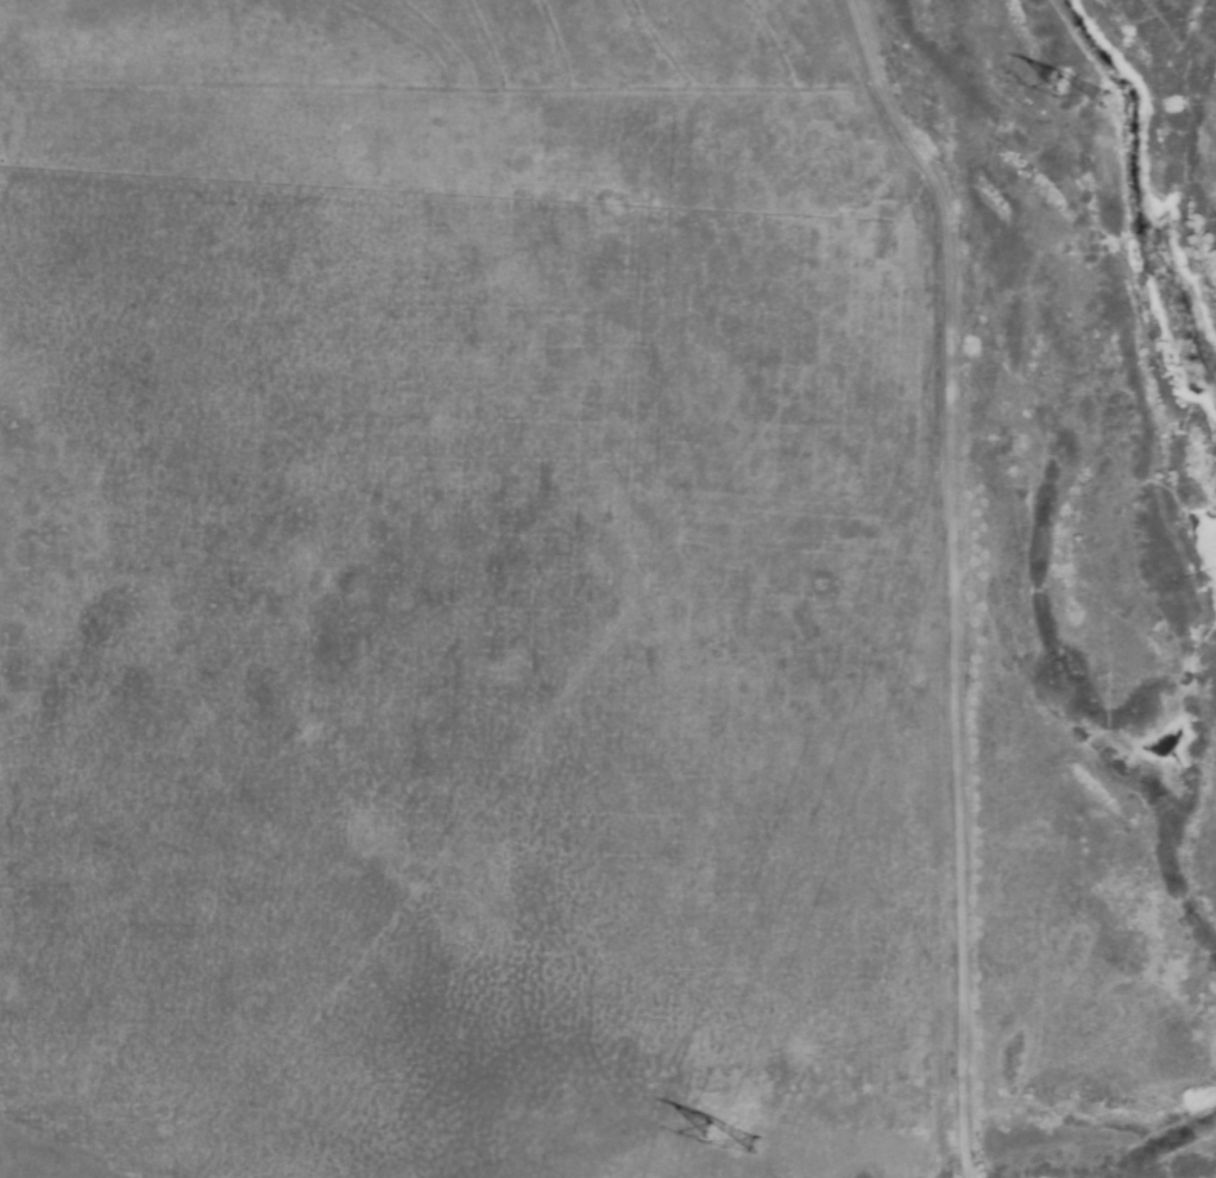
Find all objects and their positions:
power tower: (1080, 113)
power tower: (749, 1160)

